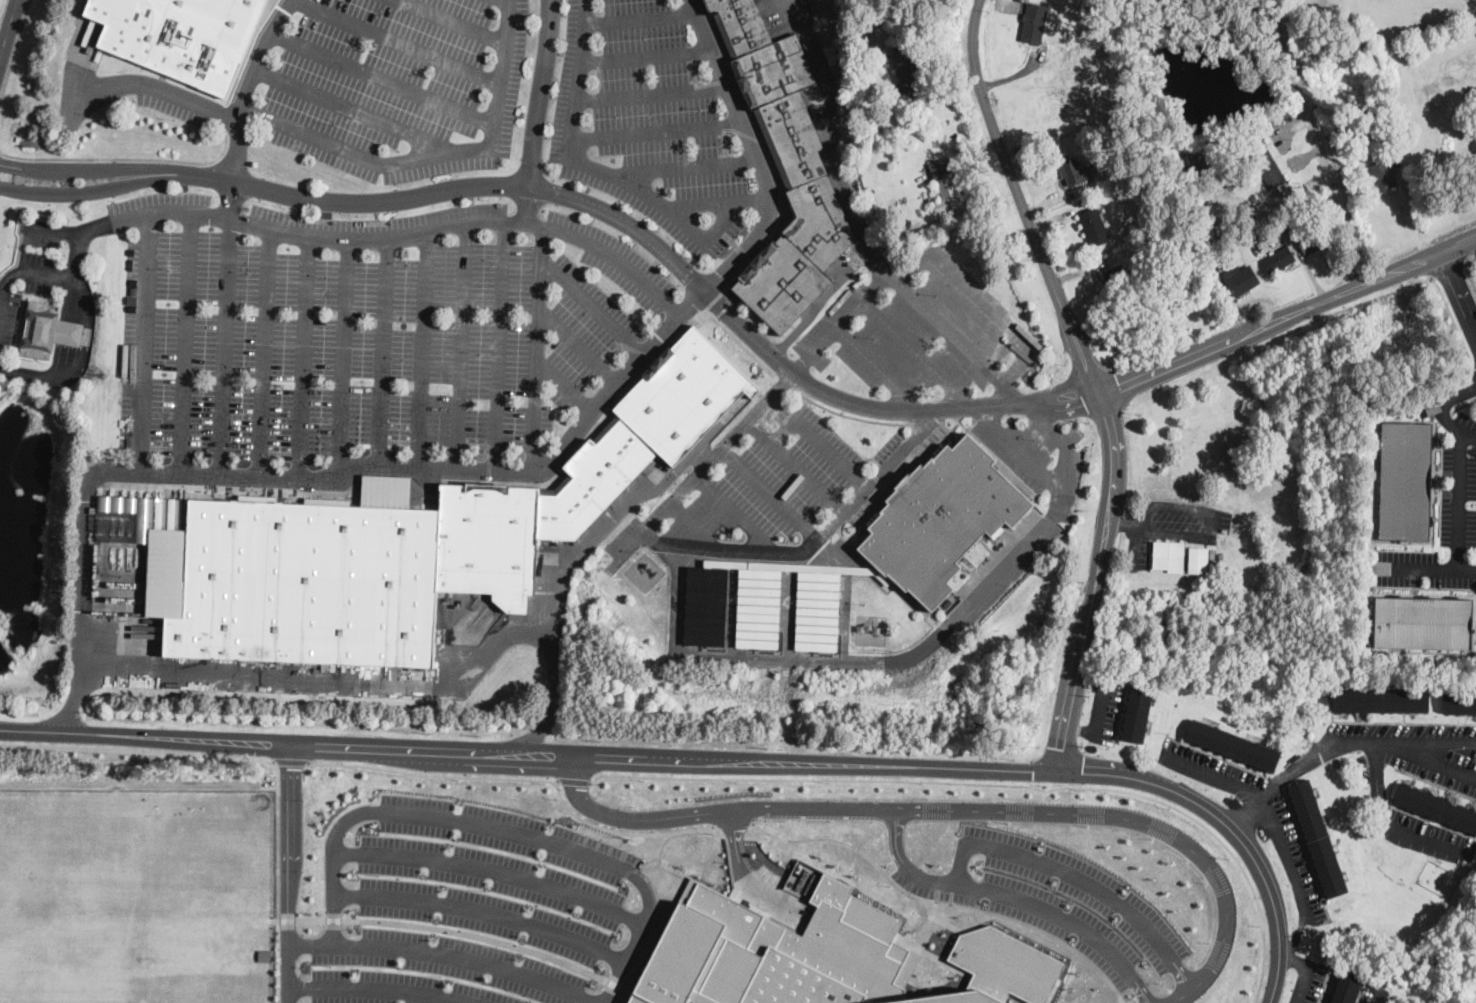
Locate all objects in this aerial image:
road: (638, 15)
road: (457, 19)
building: (1033, 22)
road: (8, 29)
building: (176, 36)
road: (398, 41)
road: (14, 48)
road: (643, 52)
building: (908, 63)
road: (380, 76)
parking lot: (397, 85)
road: (649, 90)
parking lot: (174, 100)
road: (243, 103)
road: (347, 108)
road: (538, 108)
parking lot: (649, 120)
road: (655, 130)
road: (1318, 140)
road: (349, 149)
road: (128, 158)
building: (1265, 160)
road: (682, 165)
road: (110, 166)
building: (782, 168)
building: (1071, 170)
road: (608, 171)
building: (1384, 172)
building: (945, 184)
road: (110, 186)
road: (851, 192)
road: (701, 199)
road: (1020, 200)
road: (469, 219)
road: (91, 223)
building: (1094, 225)
road: (646, 237)
building: (1309, 240)
building: (1278, 258)
road: (878, 261)
road: (1449, 270)
road: (1469, 271)
building: (1117, 277)
building: (1240, 277)
road: (1459, 286)
road: (591, 306)
road: (1287, 315)
road: (842, 320)
road: (1456, 325)
parking lot: (368, 328)
building: (1136, 329)
building: (47, 330)
parking lot: (922, 333)
road: (141, 340)
road: (184, 340)
road: (460, 343)
road: (499, 343)
road: (740, 343)
road: (222, 344)
road: (535, 345)
road: (579, 345)
road: (421, 347)
road: (379, 349)
road: (262, 350)
road: (919, 352)
road: (343, 355)
road: (300, 356)
road: (81, 358)
road: (878, 367)
road: (999, 378)
road: (1063, 384)
road: (565, 385)
road: (1006, 392)
building: (684, 394)
road: (1437, 404)
road: (1065, 408)
road: (849, 415)
building: (607, 427)
road: (818, 440)
road: (1016, 446)
road: (467, 466)
road: (796, 466)
building: (593, 480)
building: (1405, 480)
parking lot: (754, 485)
road: (1460, 494)
road: (769, 496)
road: (678, 499)
parking lot: (1444, 514)
building: (943, 517)
road: (1121, 524)
parking lot: (1179, 525)
road: (750, 529)
road: (1208, 532)
building: (489, 540)
building: (1179, 556)
road: (1427, 568)
building: (309, 582)
road: (1095, 582)
building: (766, 602)
road: (552, 611)
building: (1419, 620)
road: (915, 626)
road: (325, 680)
building: (1380, 699)
building: (1459, 701)
building: (1137, 709)
road: (1430, 739)
building: (1232, 744)
traffic signals: (1059, 748)
road: (136, 750)
road: (717, 759)
road: (289, 761)
road: (1428, 761)
road: (1298, 765)
traffic signals: (1033, 770)
traffic signals: (1082, 772)
road: (522, 778)
road: (574, 781)
road: (999, 783)
road: (1266, 805)
building: (1435, 806)
road: (712, 810)
road: (430, 816)
road: (1141, 821)
road: (733, 823)
road: (1387, 825)
building: (1317, 837)
road: (278, 839)
road: (491, 869)
road: (288, 873)
road: (1078, 878)
road: (1017, 897)
road: (942, 902)
road: (483, 910)
road: (635, 937)
road: (1295, 937)
road: (449, 953)
building: (778, 953)
road: (1295, 959)
building: (1005, 963)
road: (1303, 984)
building: (1347, 986)
road: (378, 989)
building: (952, 997)
road: (1378, 997)

